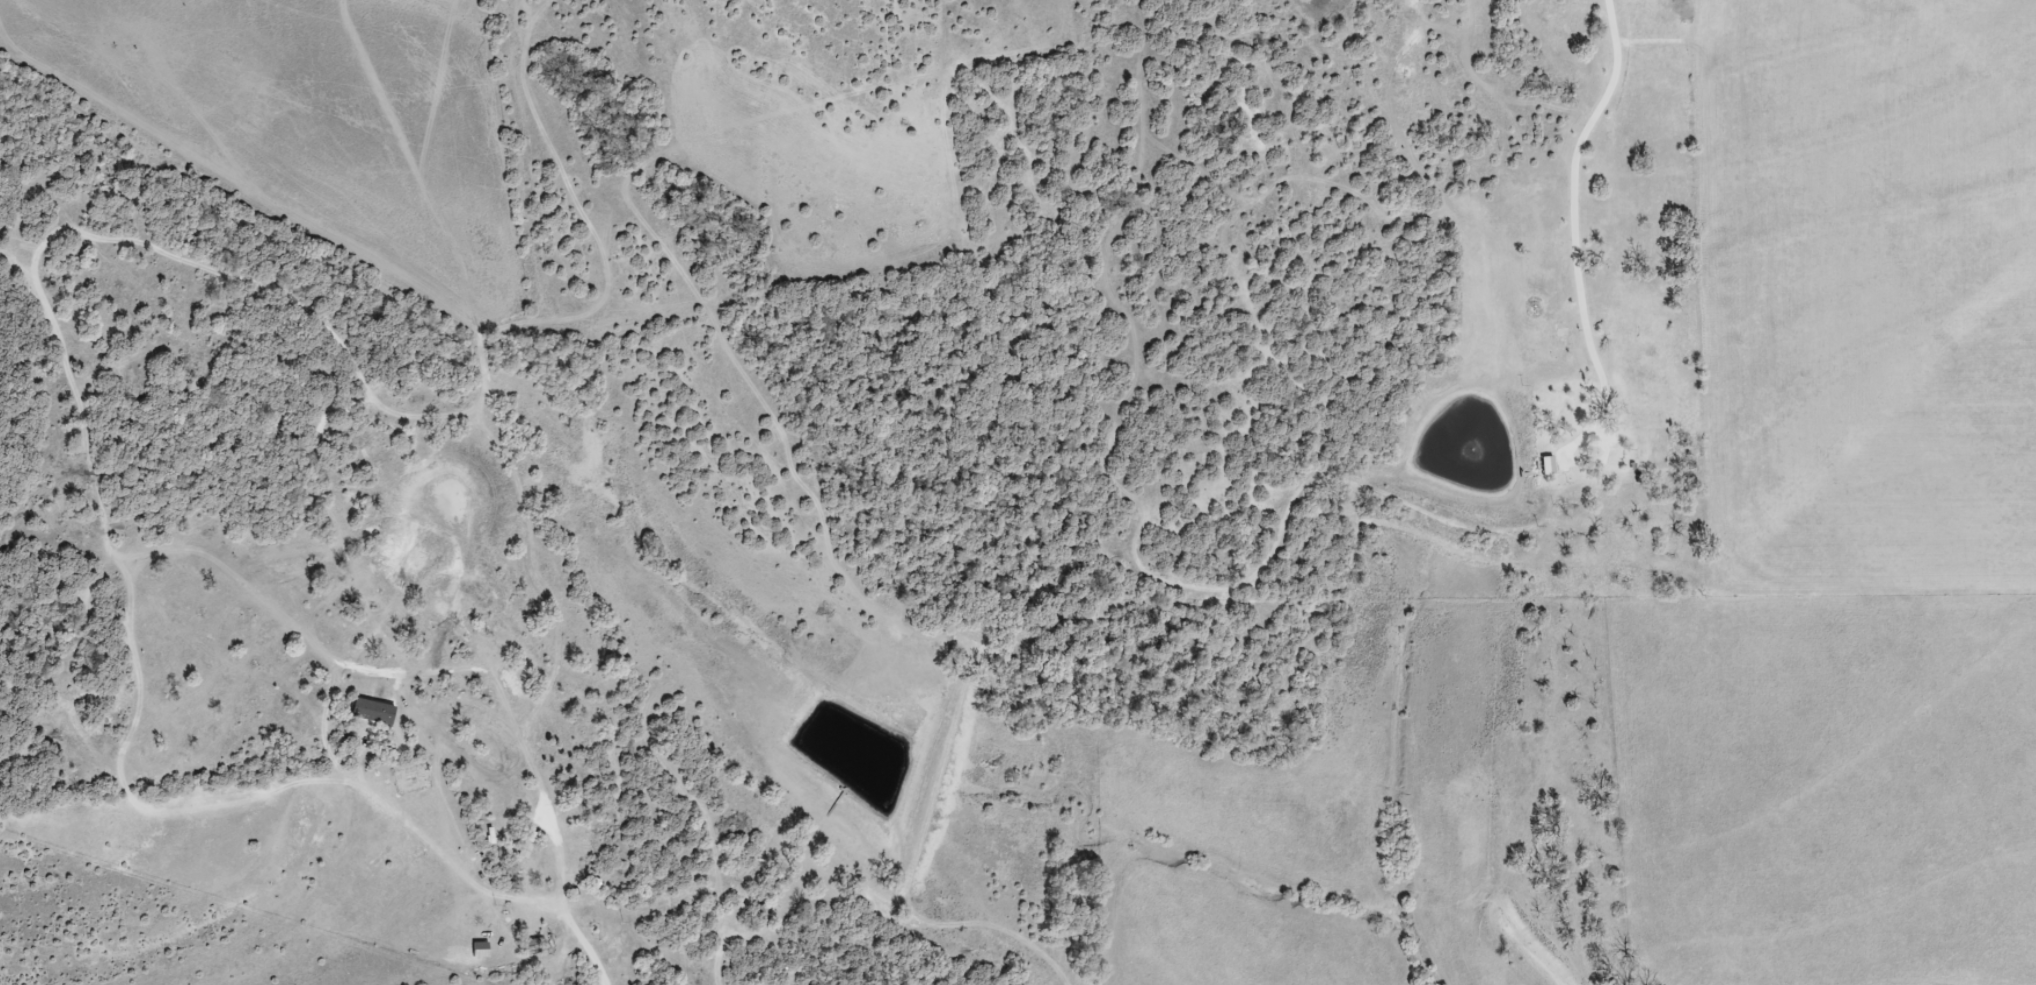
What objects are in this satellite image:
building: (1583, 9)
building: (1565, 334)
road: (527, 831)

